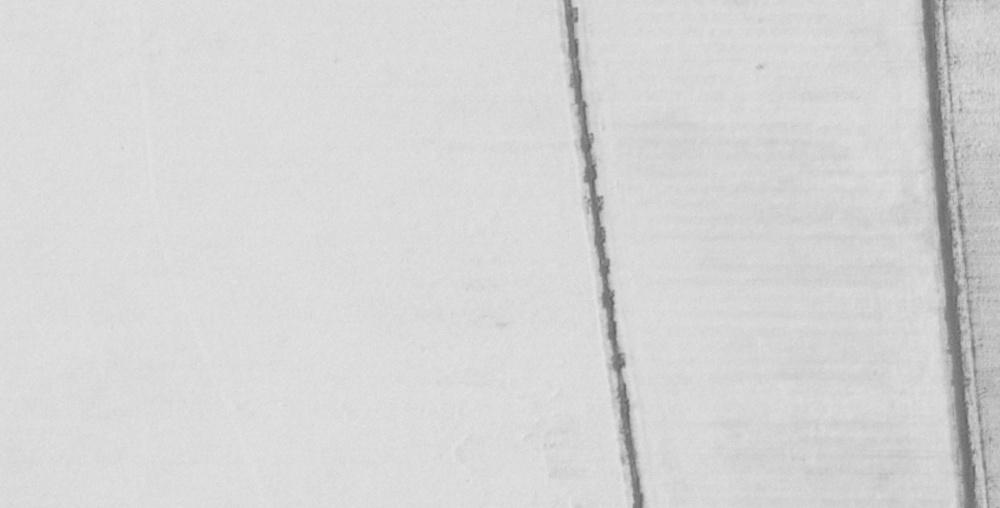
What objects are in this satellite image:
road: (607, 254)
road: (942, 255)

